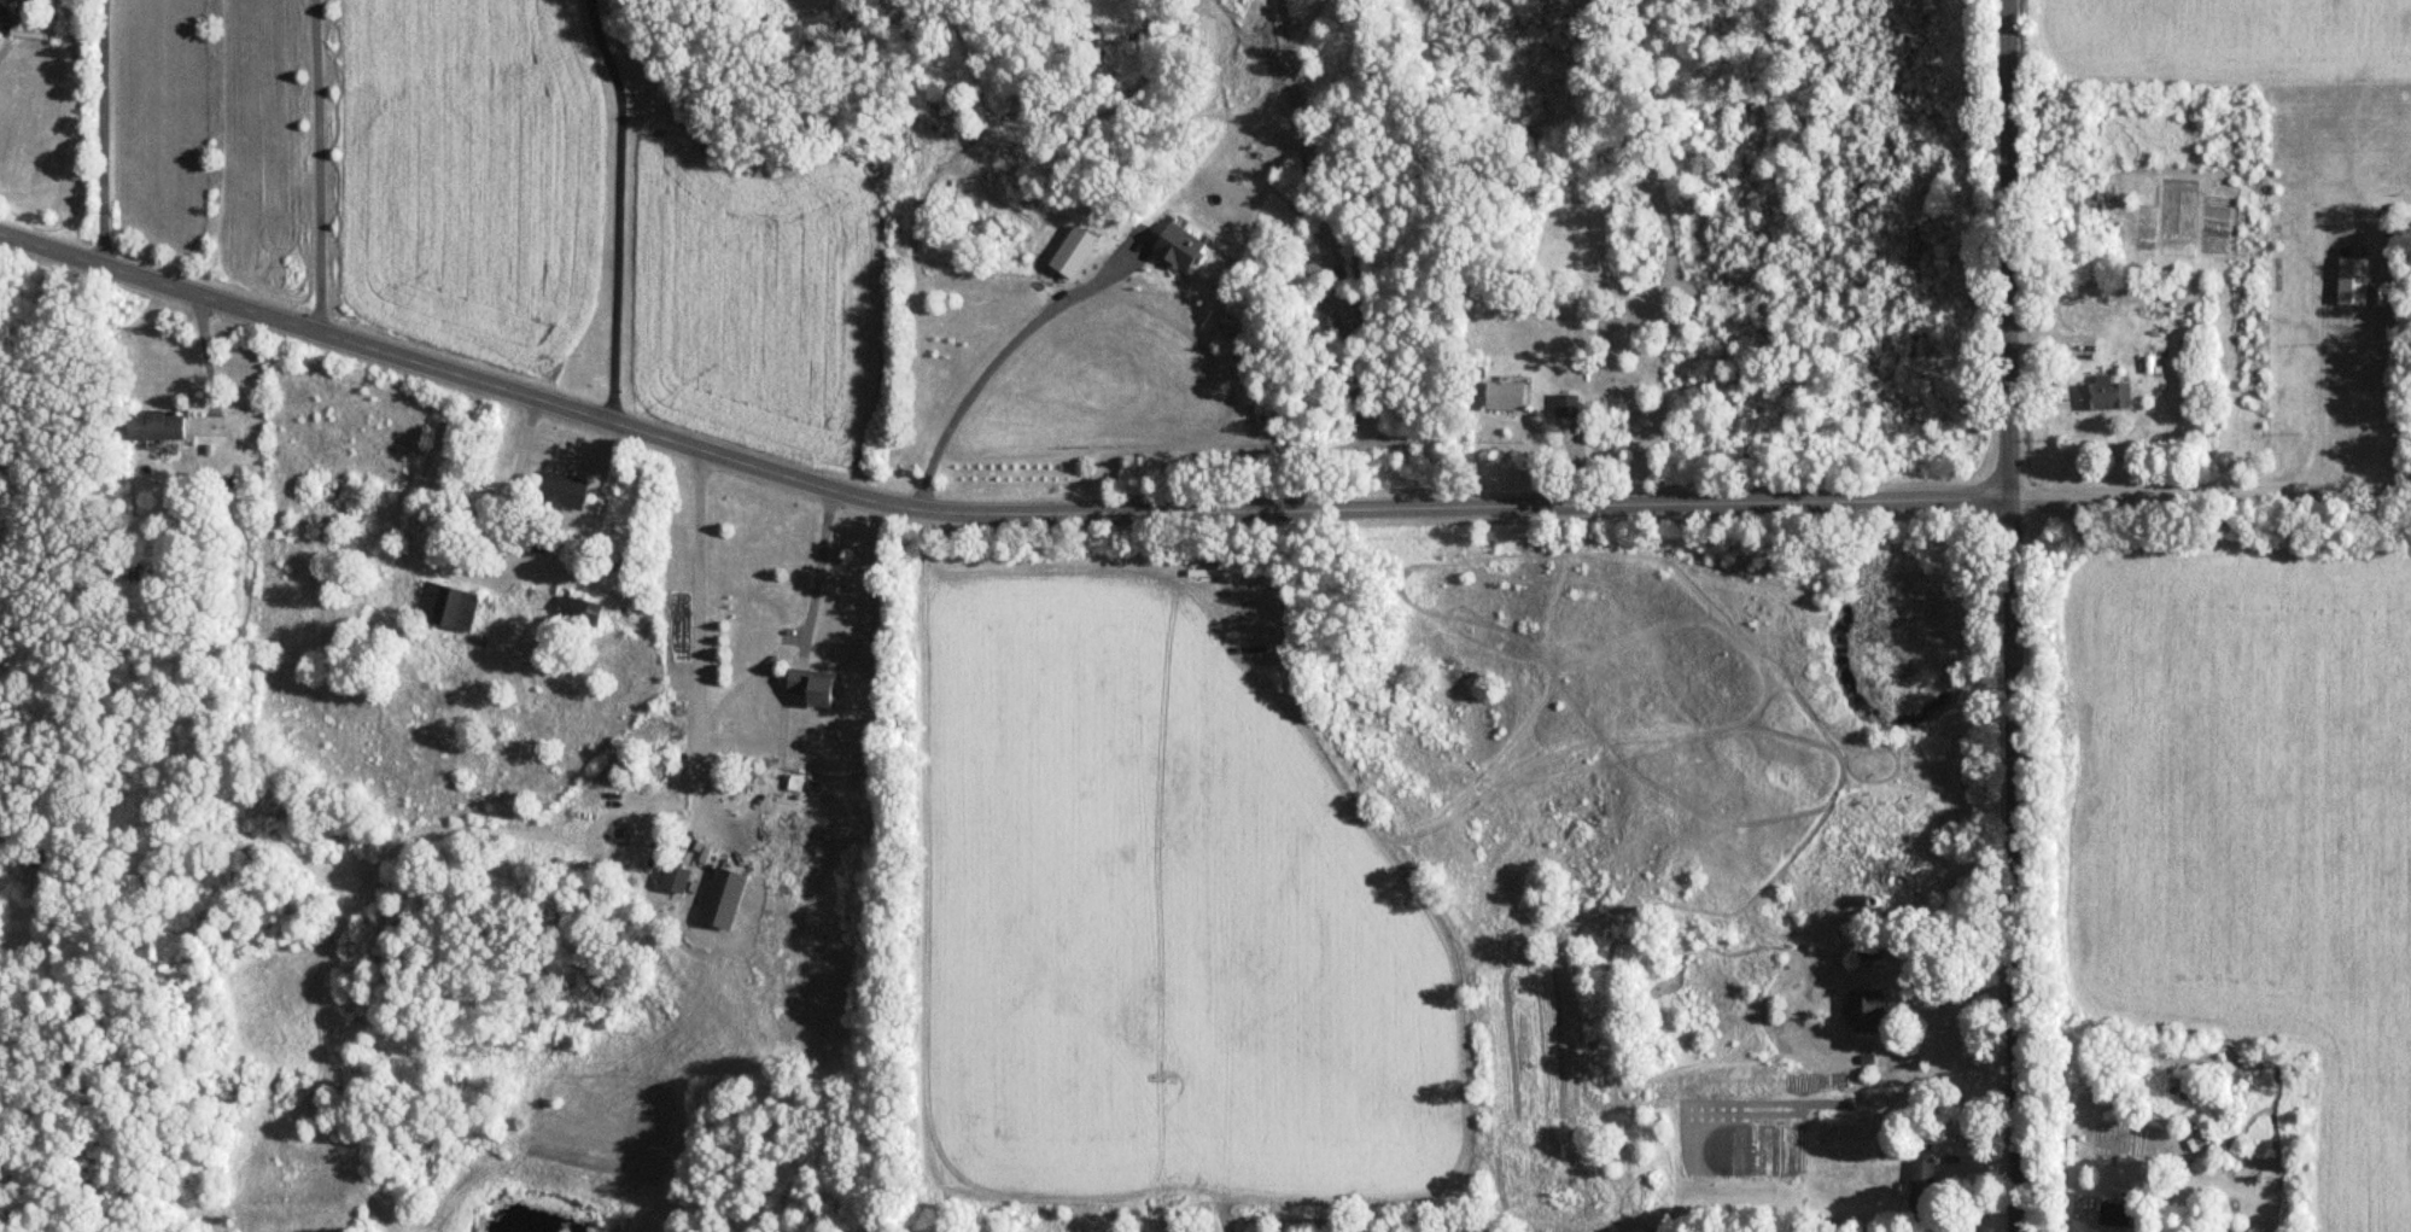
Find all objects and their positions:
building: (34, 28)
road: (103, 133)
road: (316, 168)
road: (617, 208)
building: (1111, 222)
building: (2348, 282)
road: (988, 361)
building: (1508, 395)
building: (2101, 395)
road: (2320, 408)
building: (158, 427)
building: (2293, 448)
road: (2410, 490)
building: (557, 508)
road: (1185, 512)
road: (815, 562)
building: (449, 608)
building: (574, 611)
road: (2012, 615)
road: (697, 642)
building: (818, 687)
building: (1880, 874)
building: (678, 877)
building: (726, 897)
building: (1864, 948)
building: (1863, 1011)
building: (1917, 1190)
building: (2109, 1214)

